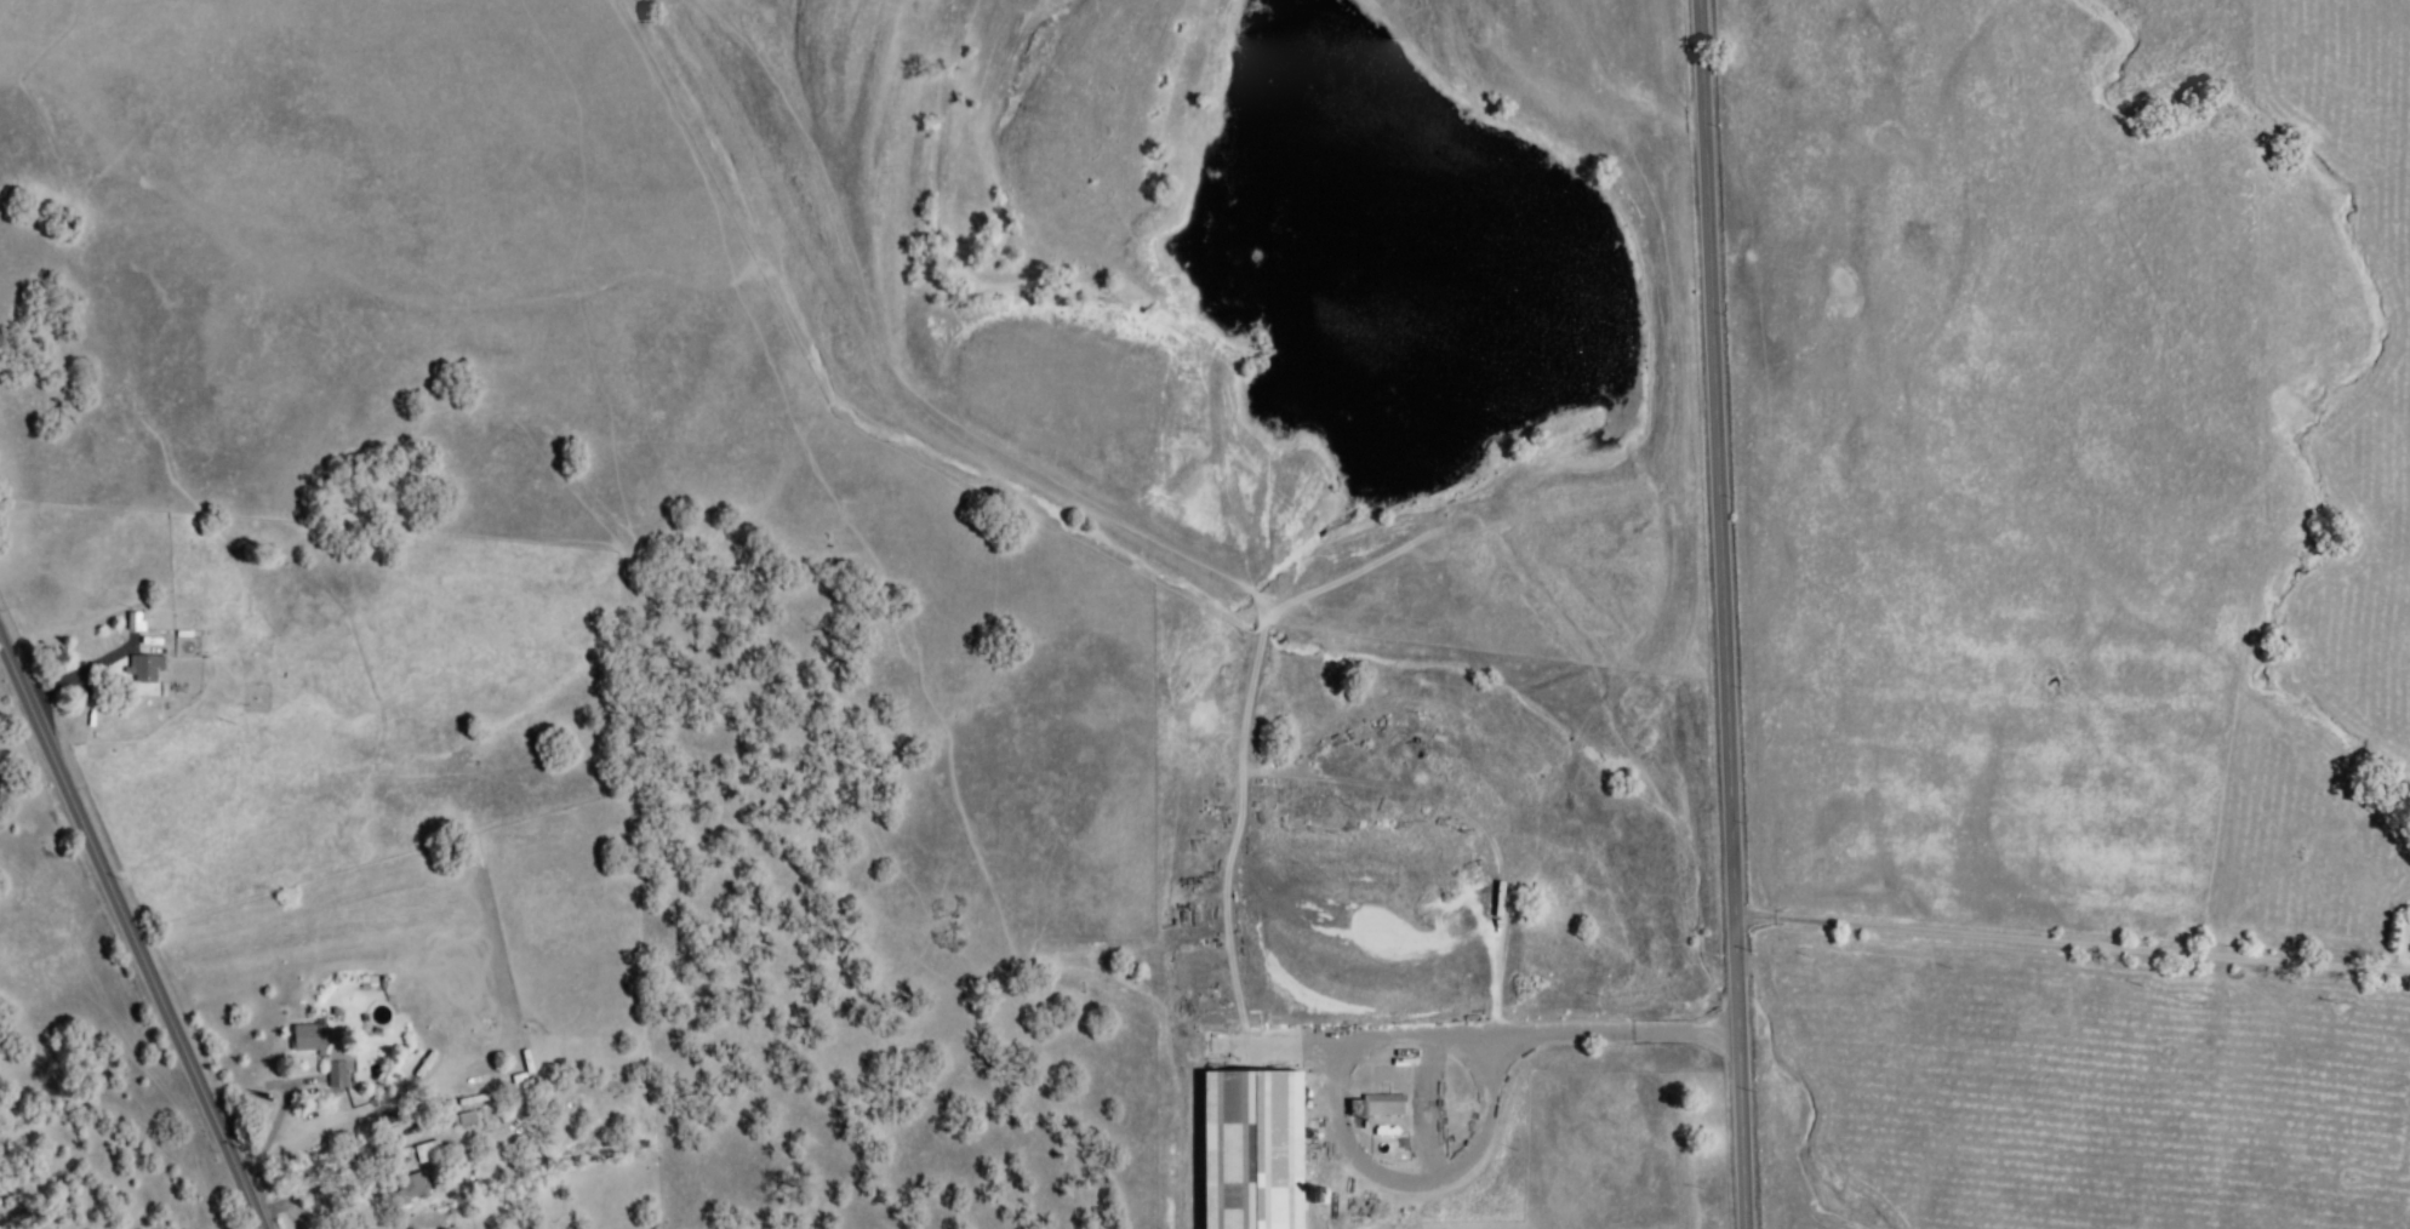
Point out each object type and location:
road: (1724, 613)
building: (135, 622)
building: (145, 669)
road: (132, 932)
road: (2072, 943)
road: (1546, 1034)
building: (310, 1039)
building: (343, 1065)
building: (522, 1085)
building: (1380, 1108)
building: (468, 1117)
building: (1252, 1150)
building: (430, 1151)
road: (312, 1172)
building: (412, 1190)

